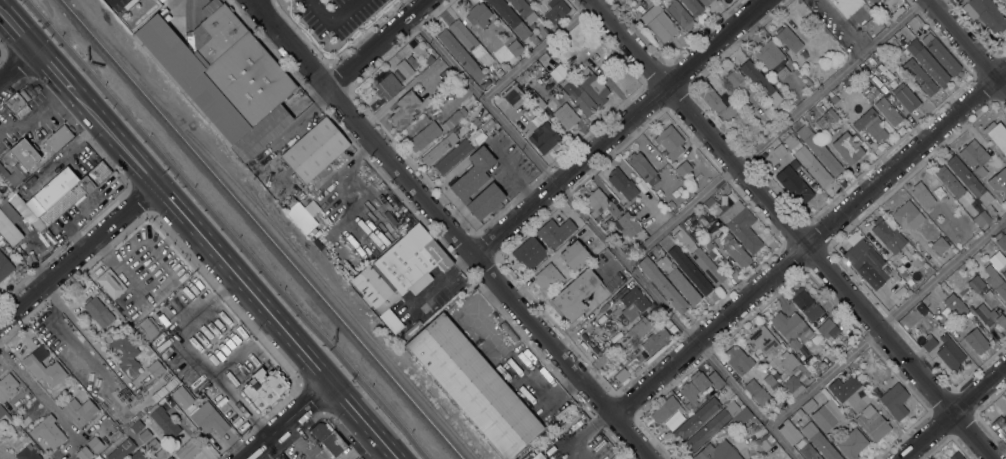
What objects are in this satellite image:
building: (705, 2)
building: (692, 7)
building: (876, 7)
building: (852, 9)
building: (523, 10)
road: (319, 11)
road: (342, 11)
building: (555, 11)
building: (504, 12)
building: (678, 13)
building: (985, 14)
building: (478, 15)
building: (918, 19)
building: (658, 23)
building: (540, 27)
road: (16, 31)
building: (521, 31)
building: (787, 38)
building: (532, 39)
road: (376, 42)
building: (470, 43)
road: (966, 44)
building: (515, 48)
road: (538, 48)
building: (784, 49)
building: (460, 54)
building: (803, 54)
building: (496, 55)
building: (941, 55)
building: (772, 59)
building: (428, 60)
road: (15, 63)
building: (927, 63)
building: (888, 64)
building: (403, 67)
building: (873, 68)
road: (52, 71)
building: (499, 71)
building: (378, 75)
building: (223, 77)
building: (397, 77)
building: (919, 77)
building: (737, 81)
building: (759, 82)
building: (388, 86)
building: (592, 86)
building: (755, 94)
building: (434, 95)
building: (513, 96)
building: (579, 98)
building: (906, 98)
building: (711, 99)
building: (833, 99)
building: (17, 103)
building: (539, 103)
building: (404, 109)
building: (888, 111)
building: (565, 116)
building: (725, 118)
building: (454, 119)
building: (827, 120)
building: (477, 121)
building: (870, 125)
building: (495, 126)
road: (617, 126)
road: (773, 131)
building: (464, 133)
building: (471, 135)
building: (424, 136)
building: (996, 136)
building: (544, 138)
building: (57, 139)
building: (791, 141)
building: (669, 142)
building: (848, 148)
building: (439, 149)
building: (314, 150)
building: (818, 150)
building: (779, 151)
building: (25, 153)
building: (452, 157)
building: (974, 157)
building: (813, 167)
building: (643, 168)
building: (683, 169)
building: (473, 174)
building: (10, 178)
building: (948, 181)
building: (675, 182)
building: (970, 184)
building: (622, 185)
building: (995, 185)
building: (794, 186)
building: (660, 191)
building: (56, 196)
building: (923, 196)
building: (485, 202)
building: (596, 202)
building: (708, 202)
building: (311, 208)
building: (714, 208)
building: (702, 210)
building: (907, 215)
building: (930, 215)
building: (301, 218)
building: (980, 219)
building: (739, 222)
building: (625, 225)
road: (225, 229)
railway: (243, 229)
railway: (260, 229)
building: (545, 229)
road: (790, 229)
road: (452, 230)
building: (8, 231)
building: (951, 233)
building: (559, 234)
building: (886, 235)
road: (603, 236)
road: (809, 241)
building: (1002, 242)
building: (706, 245)
building: (939, 245)
building: (525, 249)
building: (626, 250)
road: (77, 252)
building: (736, 254)
building: (574, 256)
building: (534, 258)
building: (663, 263)
building: (864, 263)
building: (998, 263)
building: (5, 267)
building: (707, 267)
building: (401, 269)
building: (690, 270)
building: (887, 271)
road: (236, 274)
building: (548, 279)
building: (892, 279)
building: (909, 282)
building: (919, 282)
building: (976, 283)
building: (110, 284)
building: (662, 285)
building: (998, 286)
building: (684, 287)
building: (987, 292)
building: (574, 295)
building: (630, 299)
building: (806, 304)
building: (954, 305)
building: (636, 309)
building: (98, 312)
building: (390, 321)
road: (887, 321)
building: (993, 321)
building: (639, 328)
building: (791, 328)
building: (828, 328)
building: (148, 329)
building: (857, 338)
road: (69, 340)
building: (655, 340)
building: (762, 341)
building: (976, 341)
building: (928, 343)
building: (837, 350)
building: (949, 353)
building: (125, 355)
building: (738, 360)
building: (789, 362)
building: (43, 367)
building: (156, 368)
building: (621, 375)
building: (715, 380)
building: (769, 380)
building: (699, 381)
road: (29, 382)
building: (473, 386)
building: (793, 386)
building: (8, 387)
building: (843, 388)
building: (263, 390)
building: (756, 392)
building: (707, 395)
building: (689, 396)
building: (180, 397)
building: (894, 401)
building: (809, 405)
building: (664, 410)
building: (79, 411)
building: (2, 412)
building: (799, 413)
road: (954, 413)
building: (827, 415)
building: (696, 418)
building: (209, 419)
road: (287, 420)
building: (742, 421)
building: (164, 422)
building: (873, 425)
building: (136, 426)
building: (711, 426)
building: (1000, 427)
building: (47, 431)
building: (788, 431)
building: (144, 435)
building: (327, 439)
building: (819, 441)
building: (764, 442)
building: (94, 444)
building: (851, 444)
building: (153, 445)
building: (121, 450)
building: (187, 450)
building: (807, 450)
building: (605, 451)
building: (717, 452)
building: (27, 453)
building: (83, 453)
building: (161, 453)
building: (137, 455)
building: (537, 456)
building: (955, 456)
building: (170, 458)
building: (358, 458)

